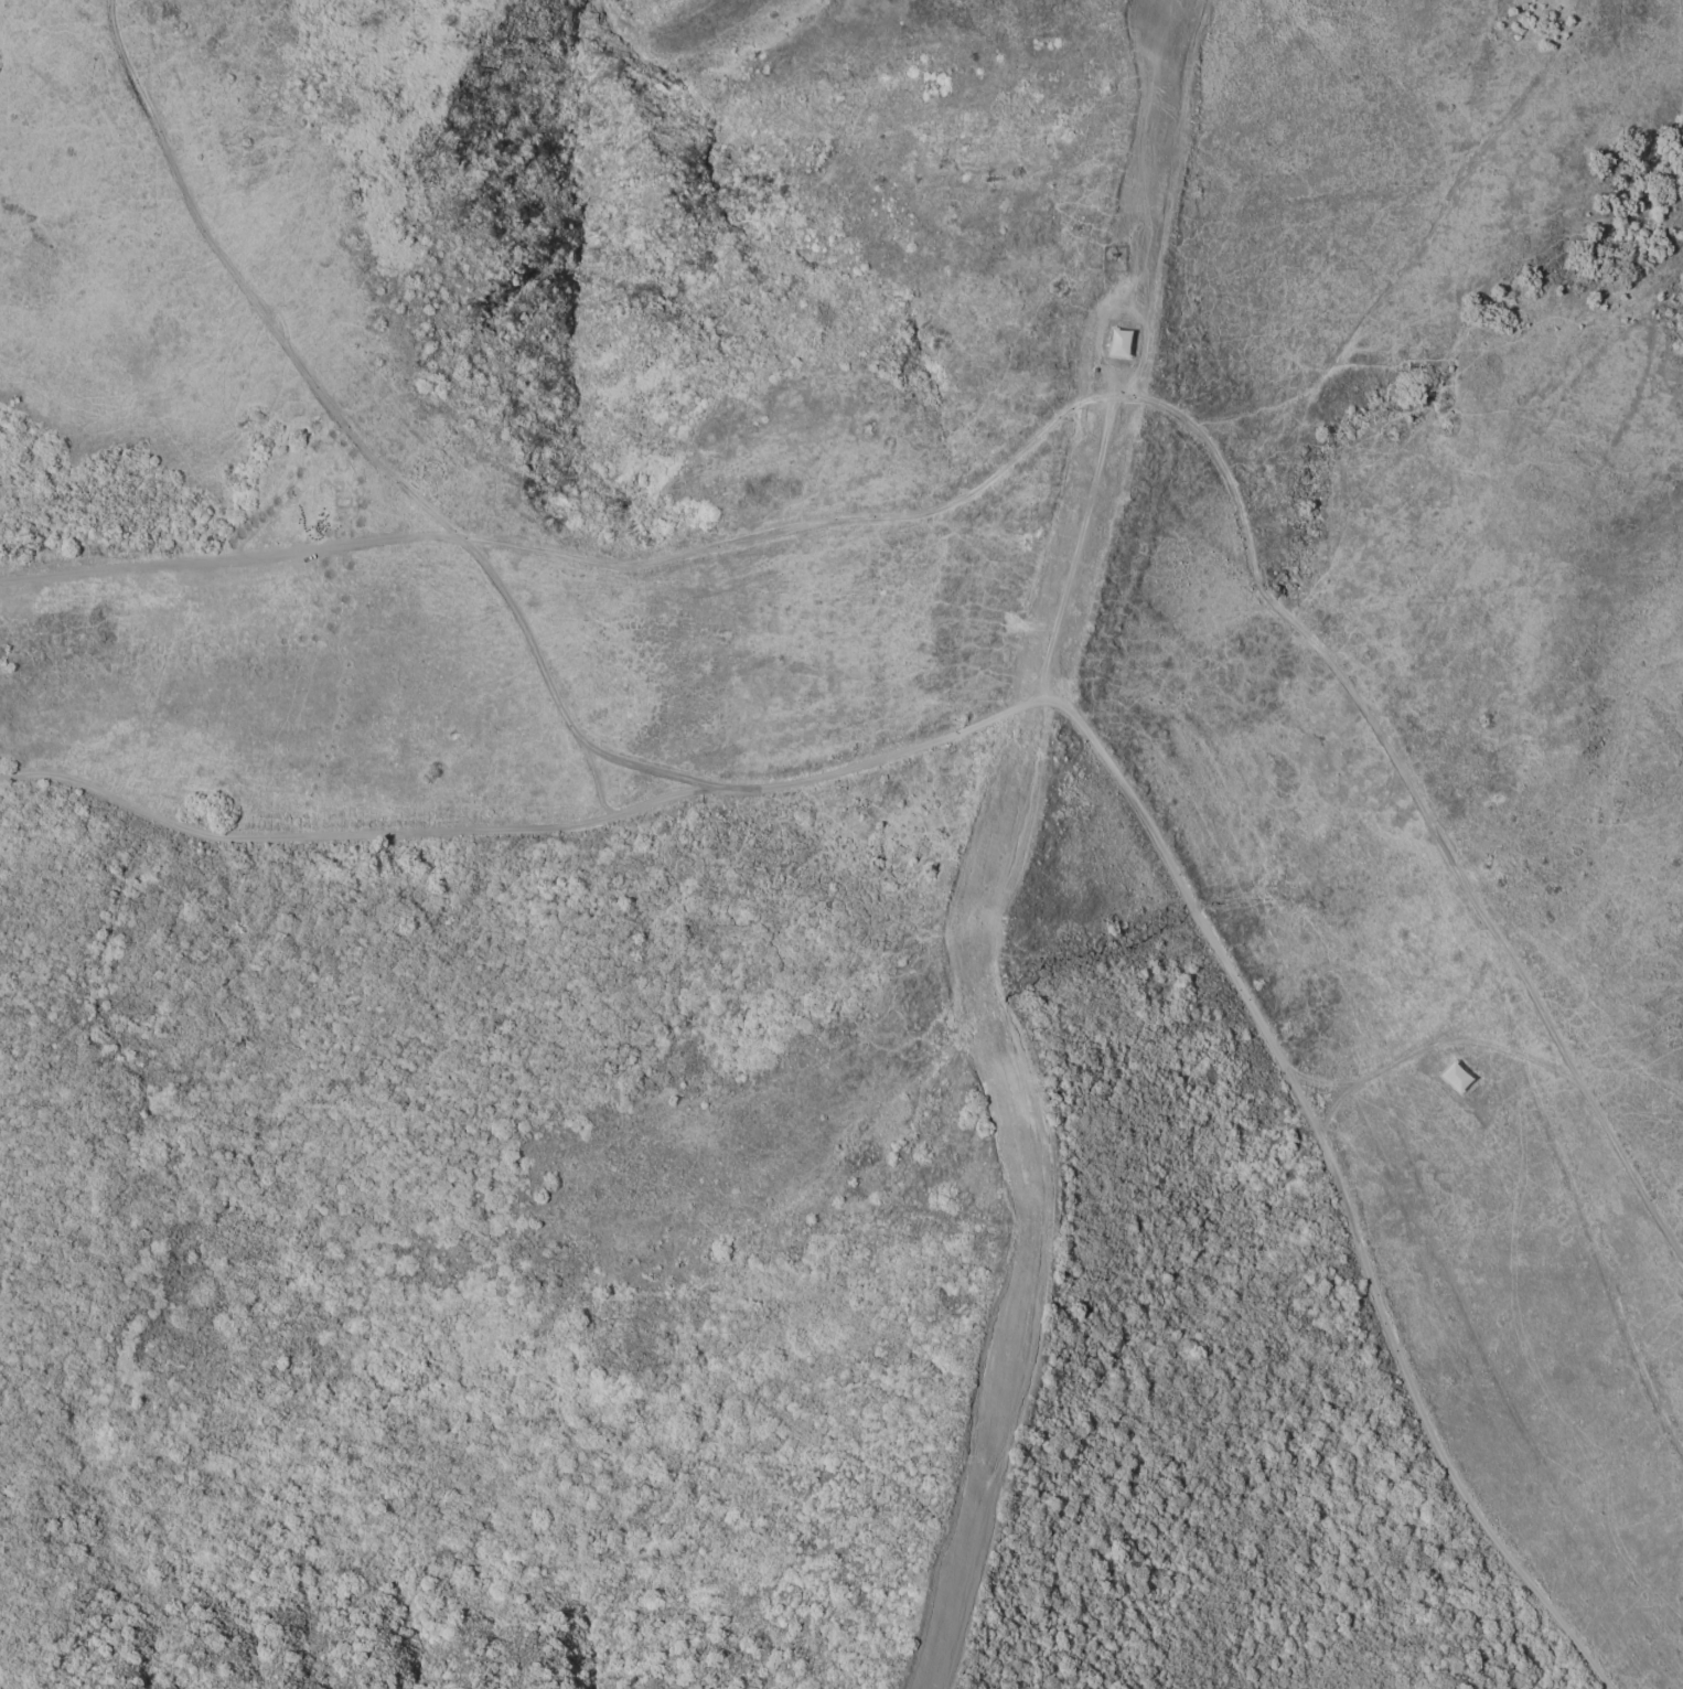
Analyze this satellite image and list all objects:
building: (1116, 343)
road: (1075, 716)
road: (1362, 1083)

